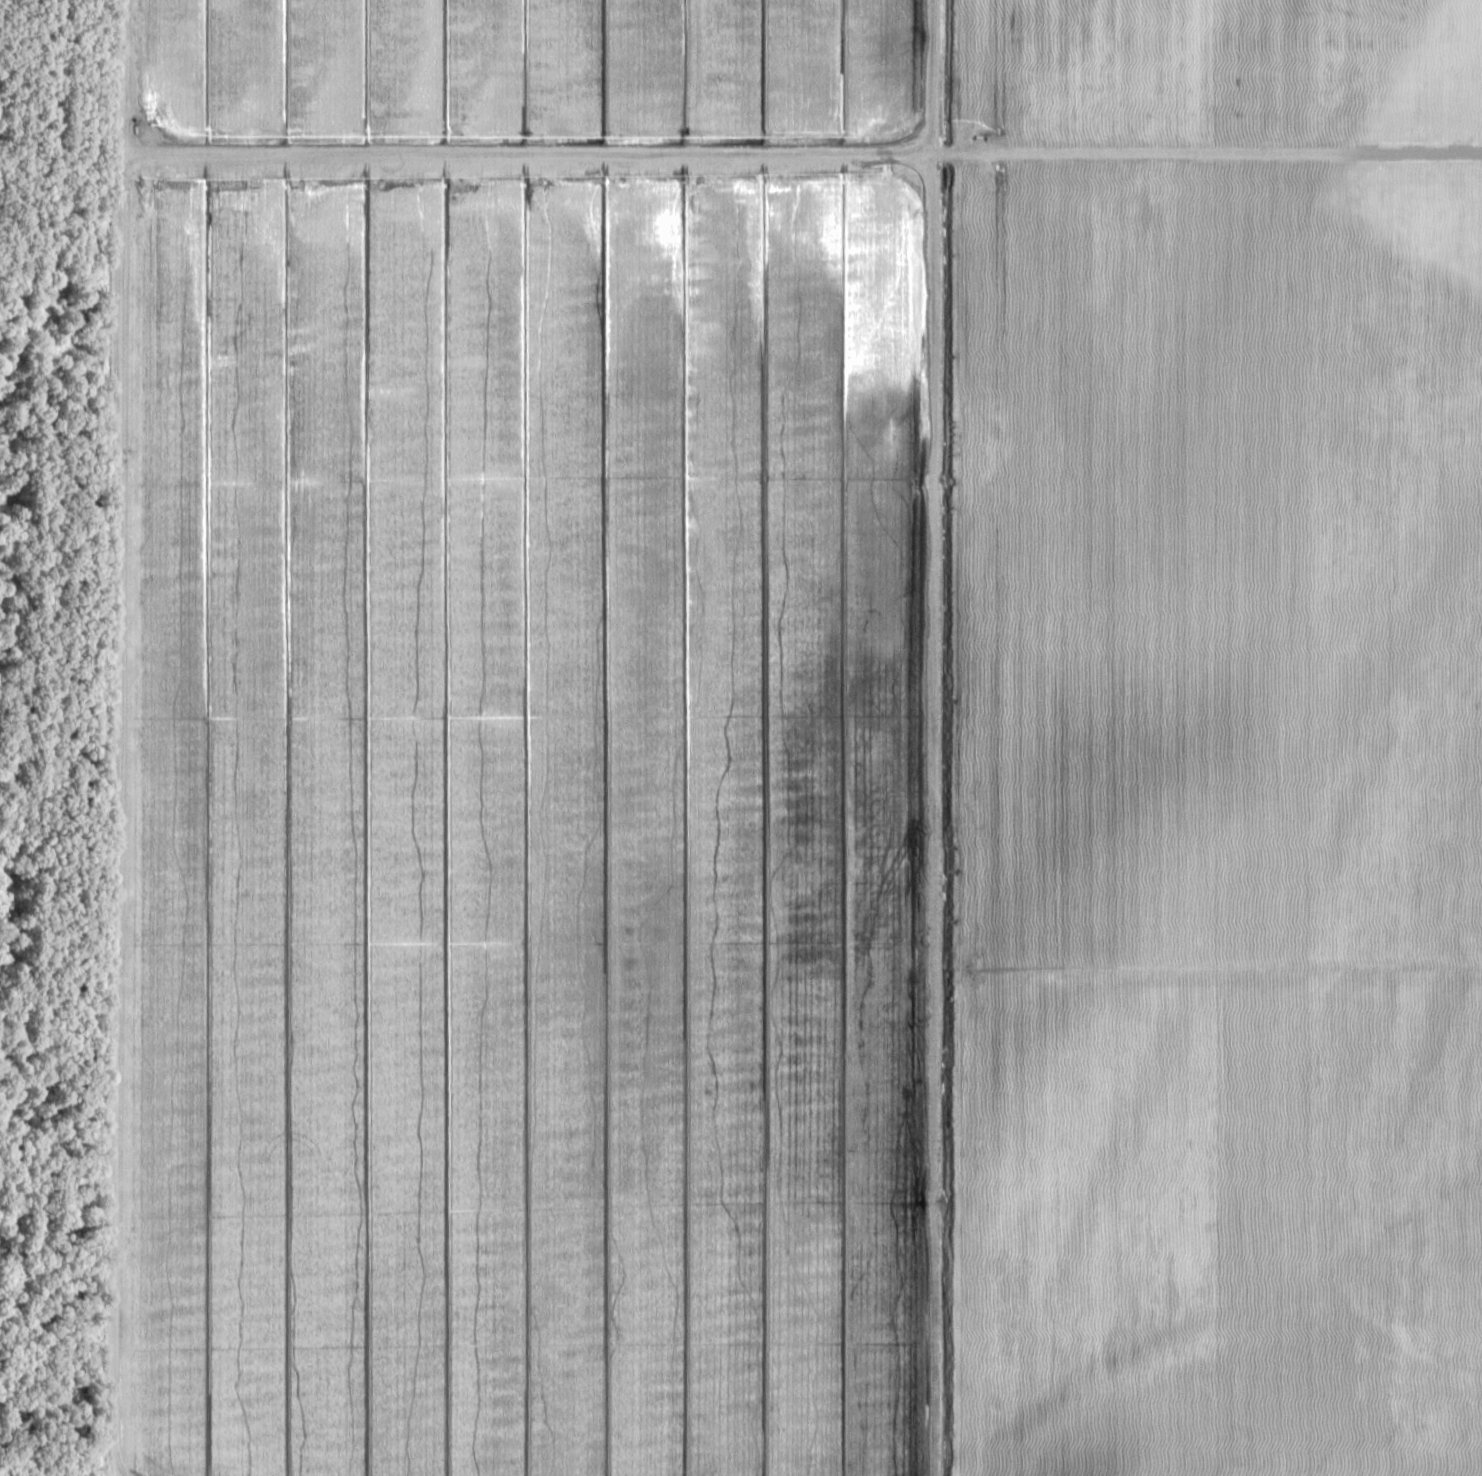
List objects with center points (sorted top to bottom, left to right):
road: (115, 737)
road: (1441, 1130)

